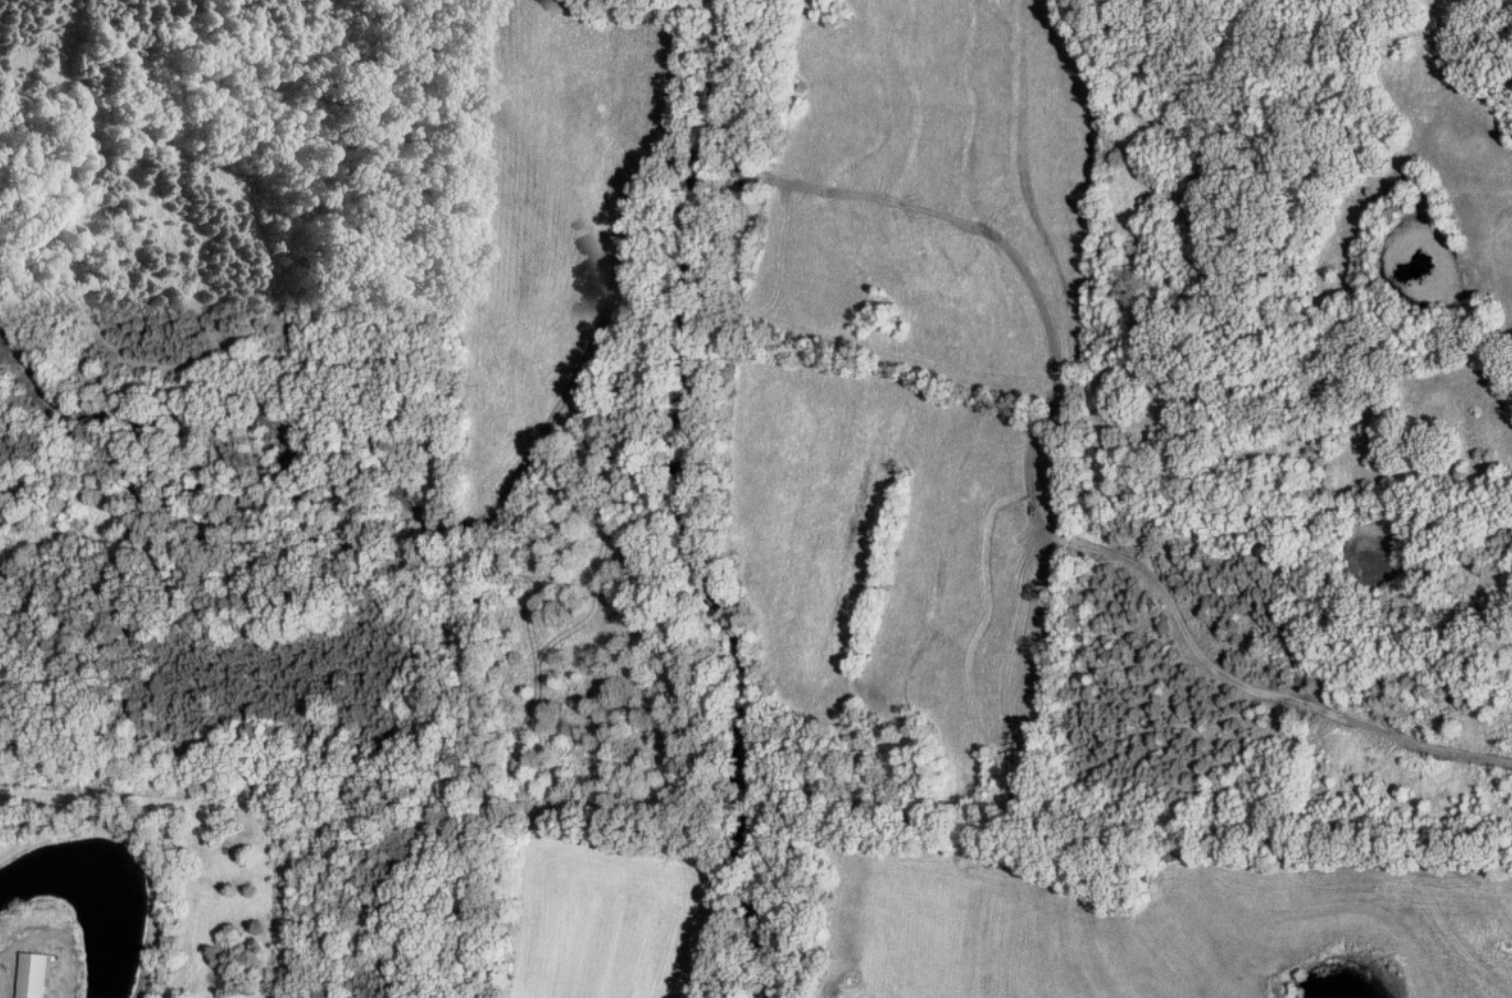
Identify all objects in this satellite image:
building: (48, 994)

